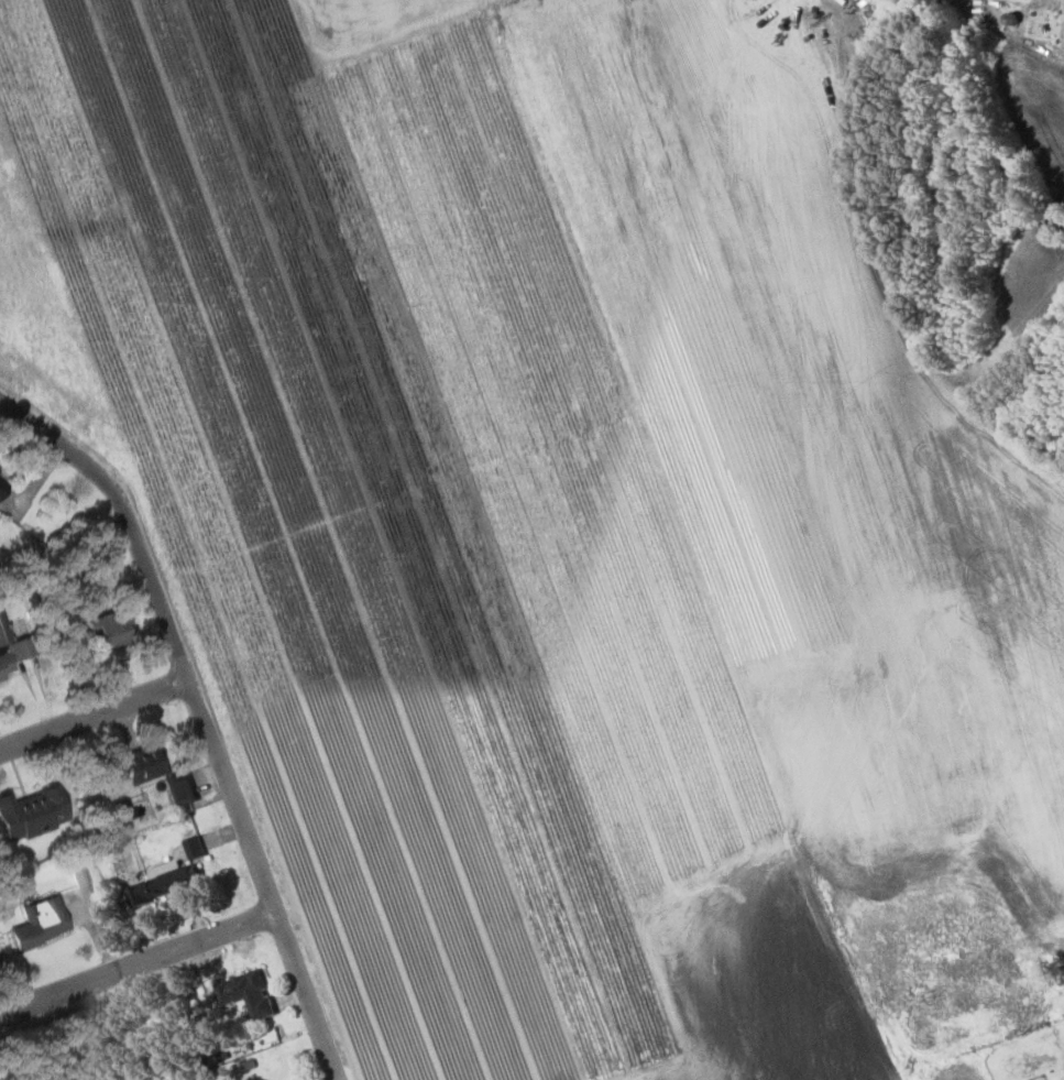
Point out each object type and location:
building: (1, 486)
building: (97, 631)
building: (7, 655)
road: (205, 714)
road: (97, 719)
building: (138, 763)
building: (179, 789)
building: (30, 808)
building: (191, 846)
building: (162, 885)
building: (46, 916)
road: (139, 969)
building: (245, 996)

